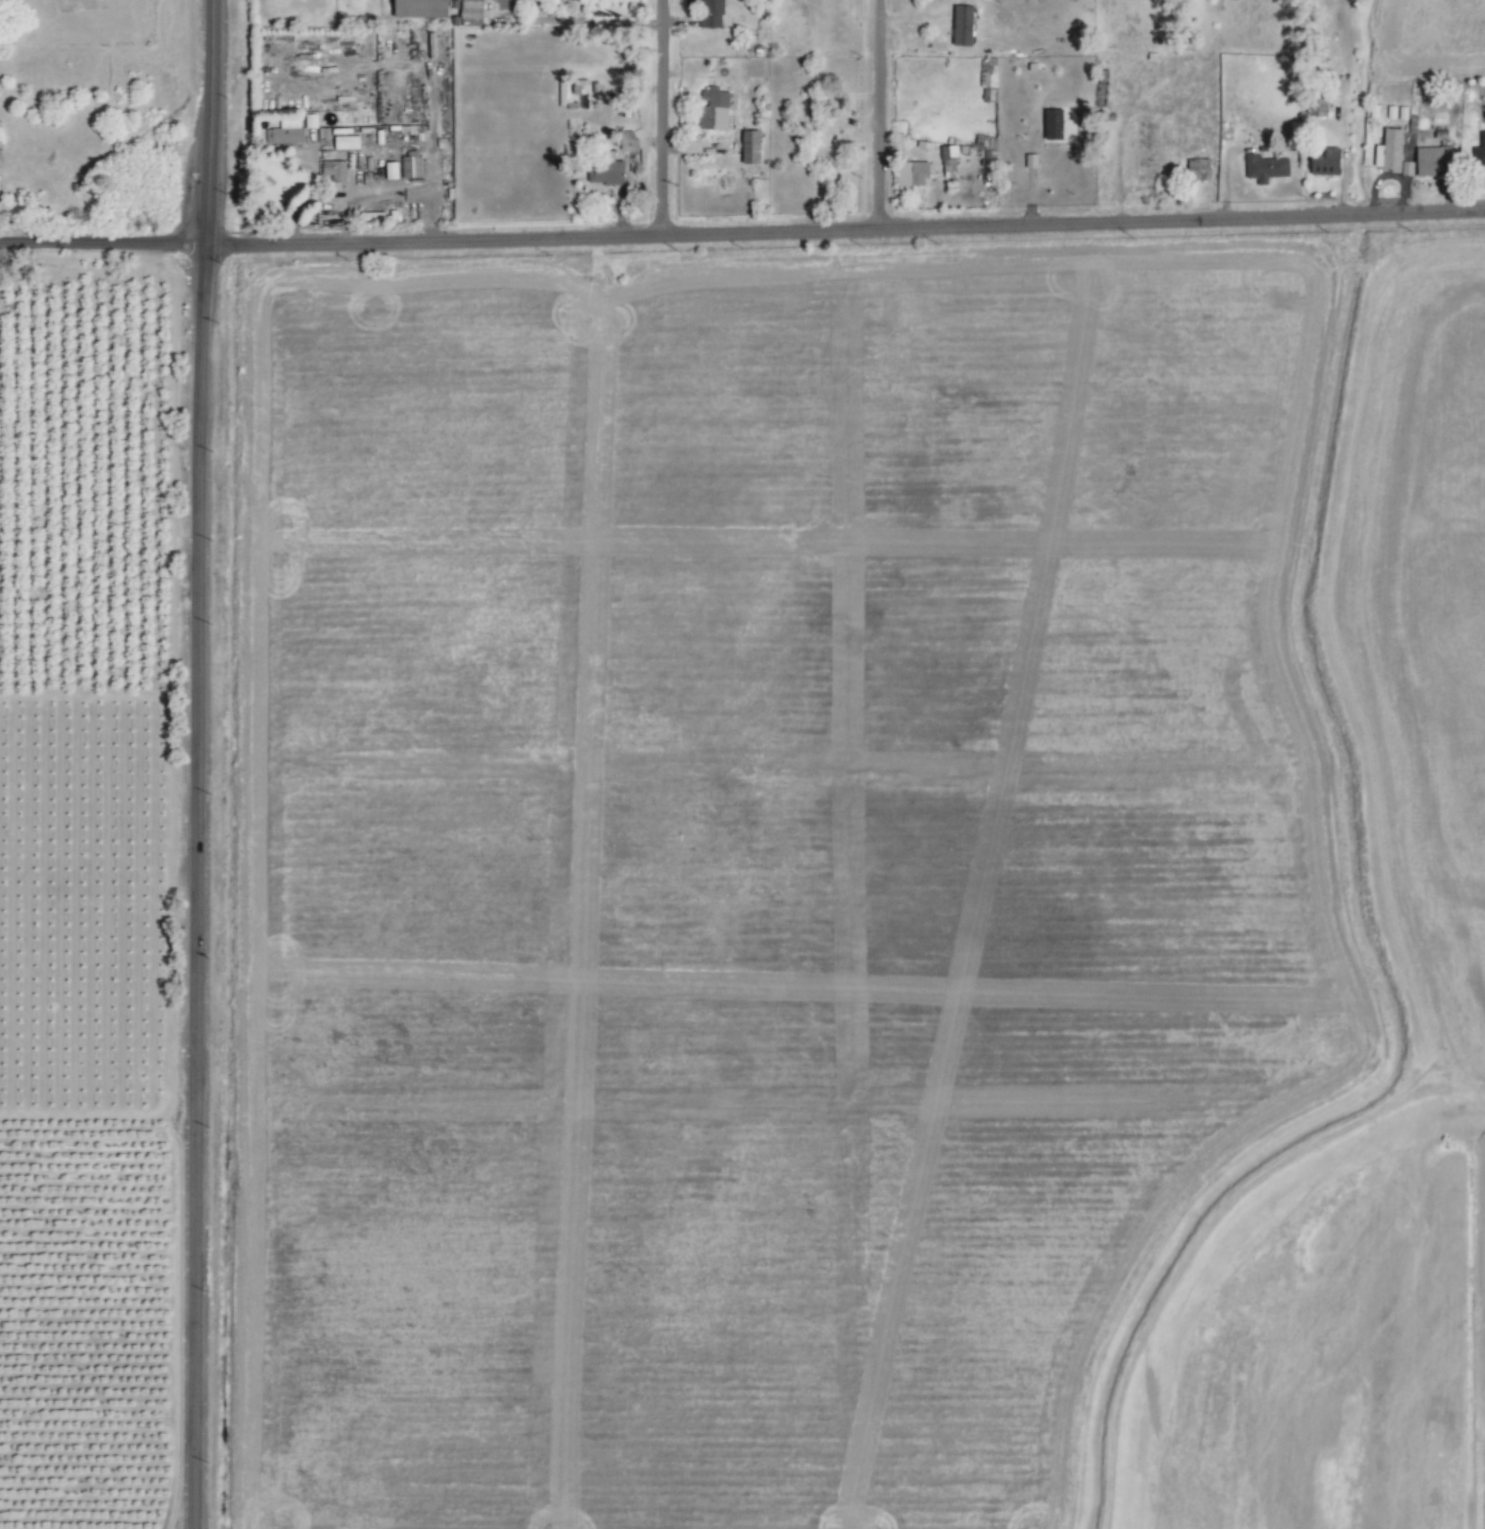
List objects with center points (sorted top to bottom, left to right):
building: (424, 8)
building: (473, 13)
building: (713, 13)
building: (987, 81)
building: (716, 108)
road: (430, 112)
road: (877, 115)
building: (329, 118)
road: (659, 119)
building: (1050, 124)
building: (287, 132)
building: (348, 143)
building: (753, 147)
building: (986, 150)
building: (1479, 151)
building: (1389, 153)
building: (947, 161)
building: (1430, 161)
building: (1322, 164)
building: (413, 165)
building: (1265, 168)
building: (1199, 169)
building: (394, 170)
building: (335, 171)
building: (608, 171)
building: (911, 172)
road: (407, 193)
road: (305, 199)
road: (742, 235)
road: (197, 764)

